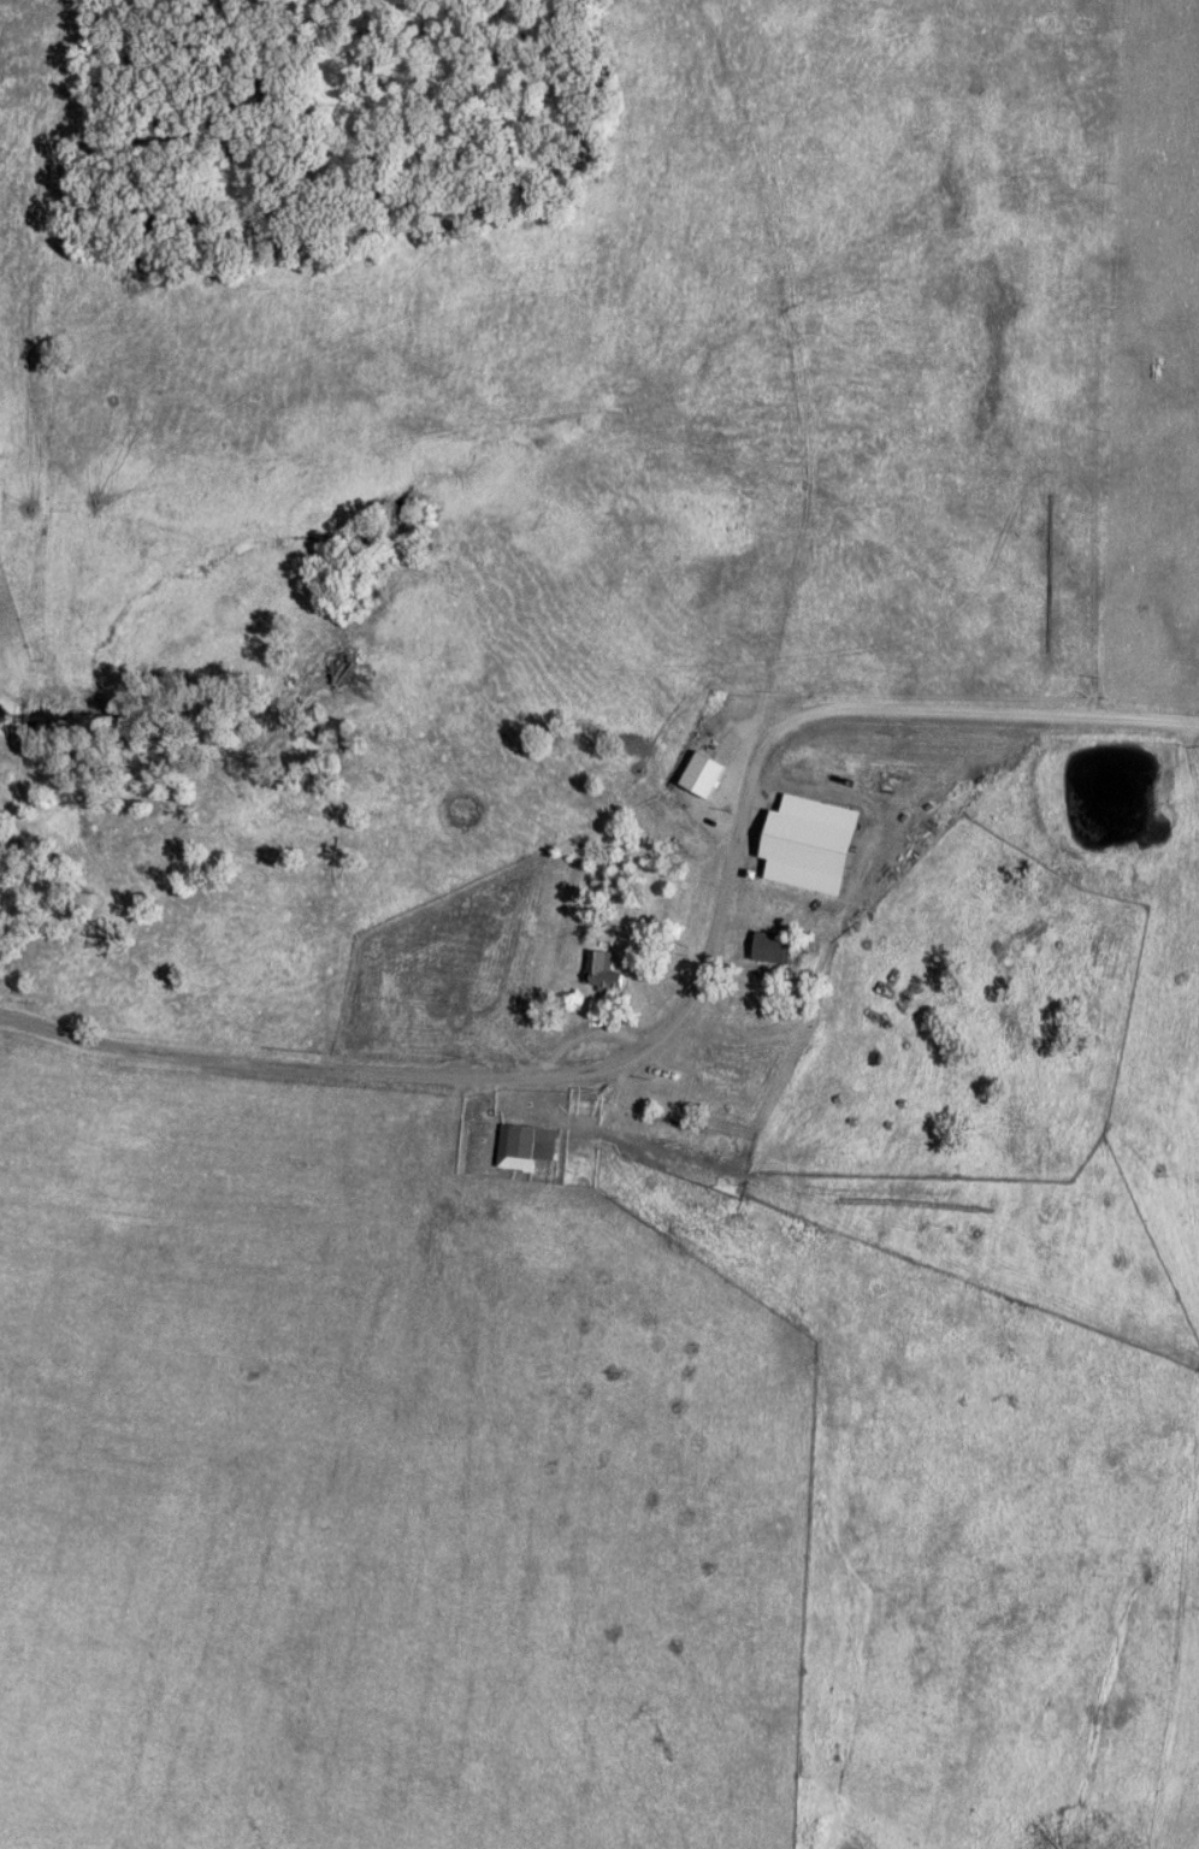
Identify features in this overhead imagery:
building: (810, 843)
building: (770, 946)
building: (602, 970)
road: (687, 1000)
road: (589, 1028)
building: (525, 1145)

